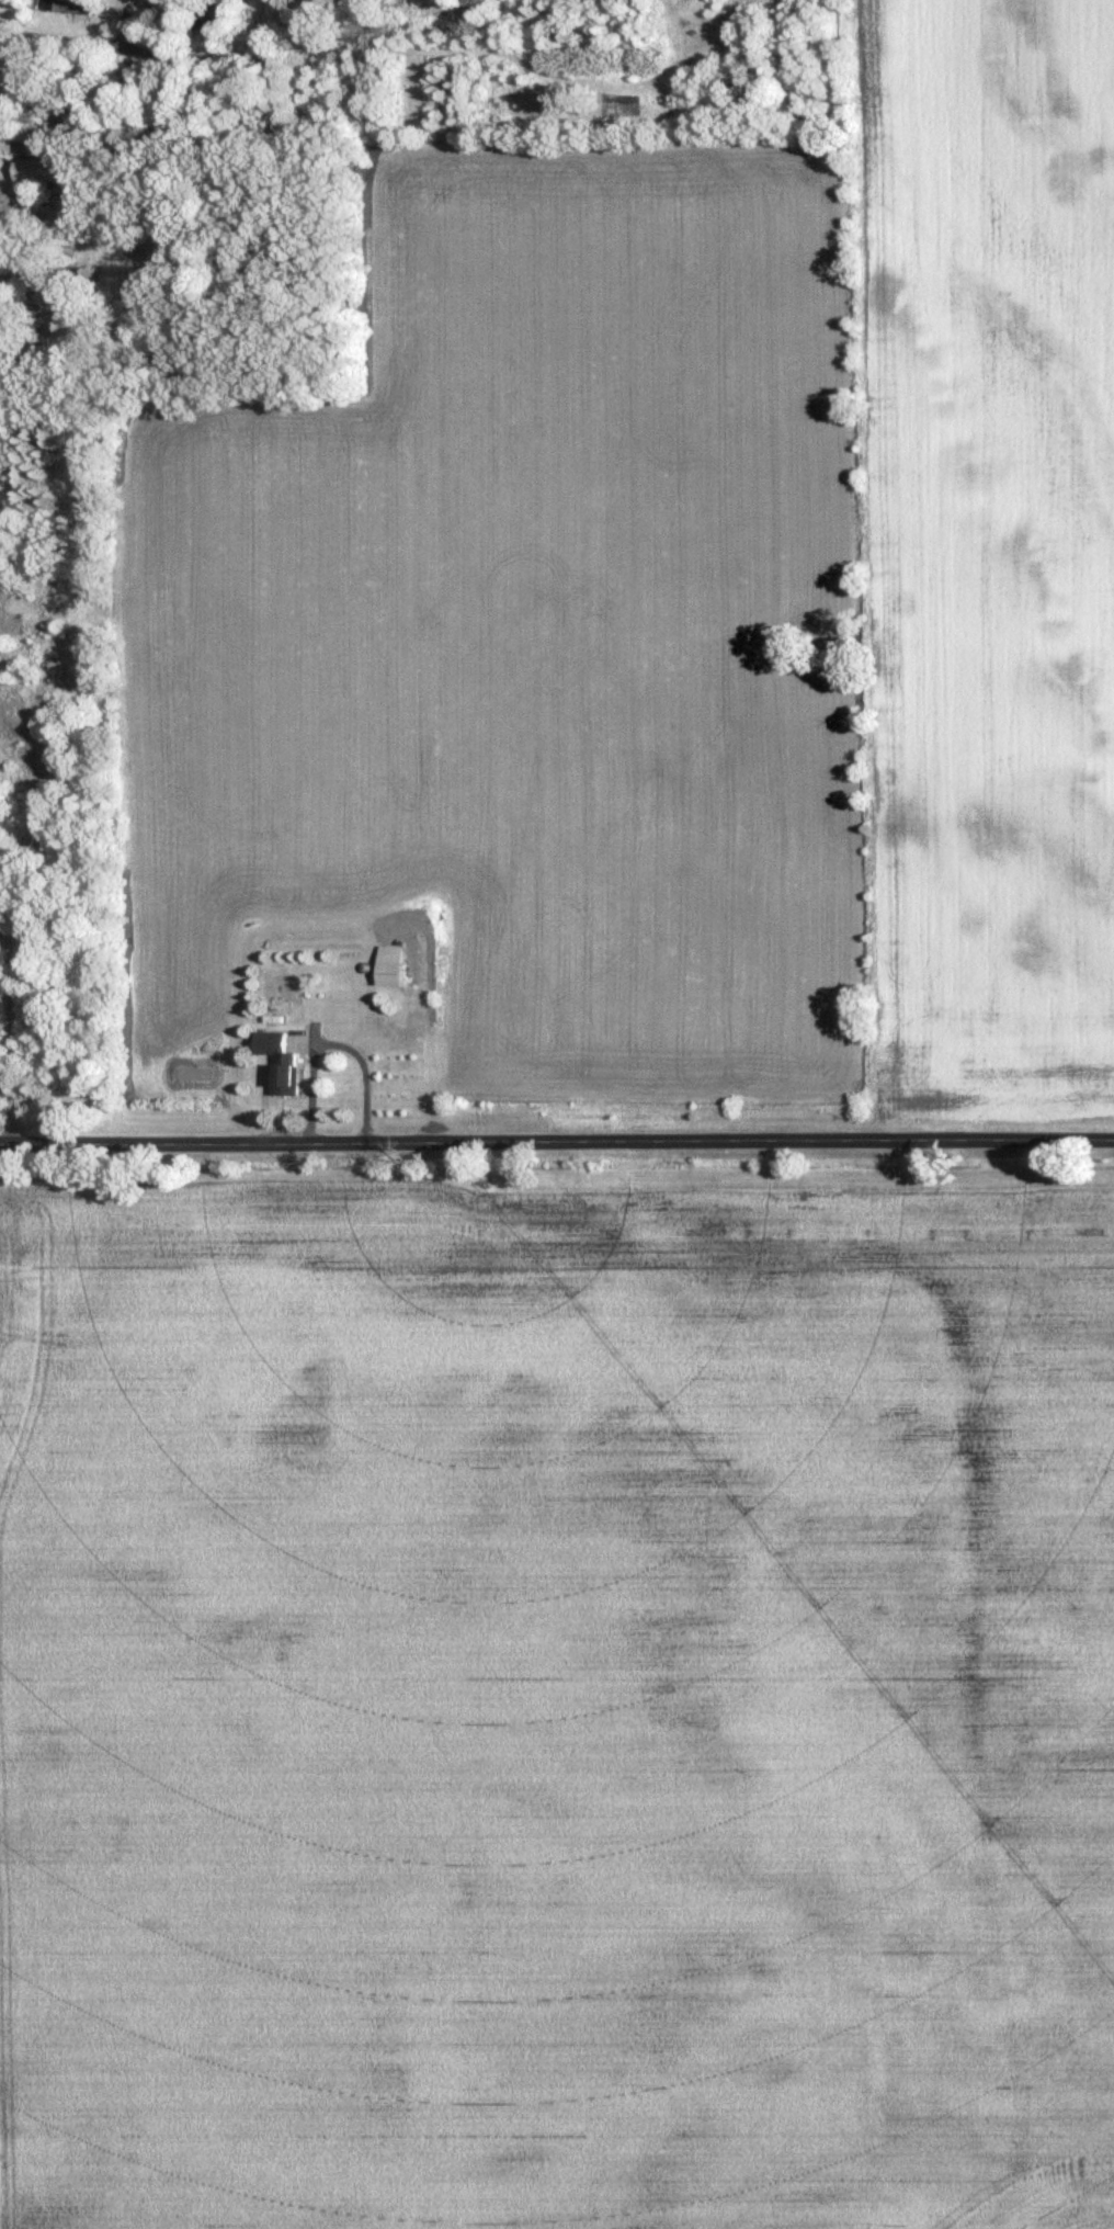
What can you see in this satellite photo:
building: (68, 5)
road: (72, 42)
building: (39, 168)
road: (14, 205)
building: (395, 964)
road: (9, 1030)
road: (339, 1046)
building: (284, 1060)
road: (556, 1145)
crop: (555, 1710)

